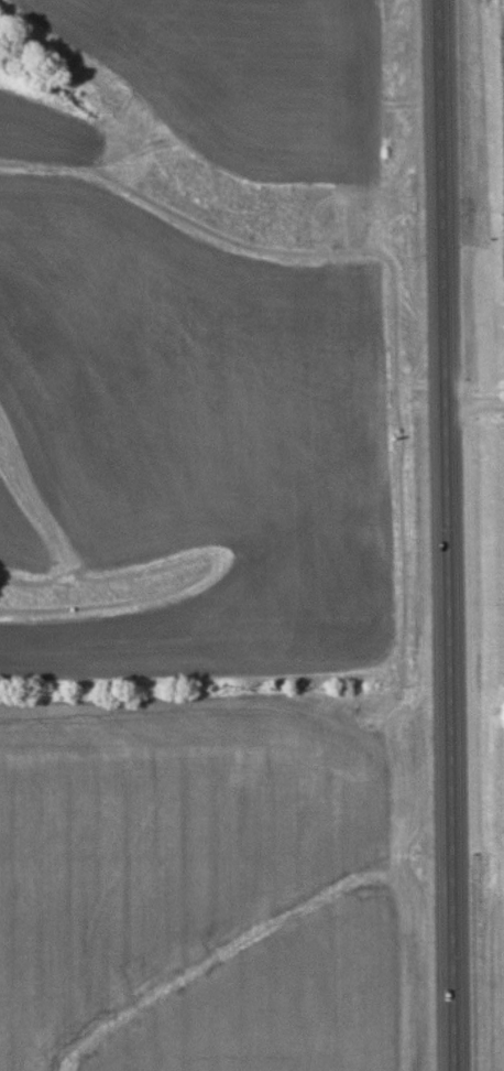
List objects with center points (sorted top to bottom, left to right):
road: (473, 94)
road: (475, 408)
road: (449, 534)

